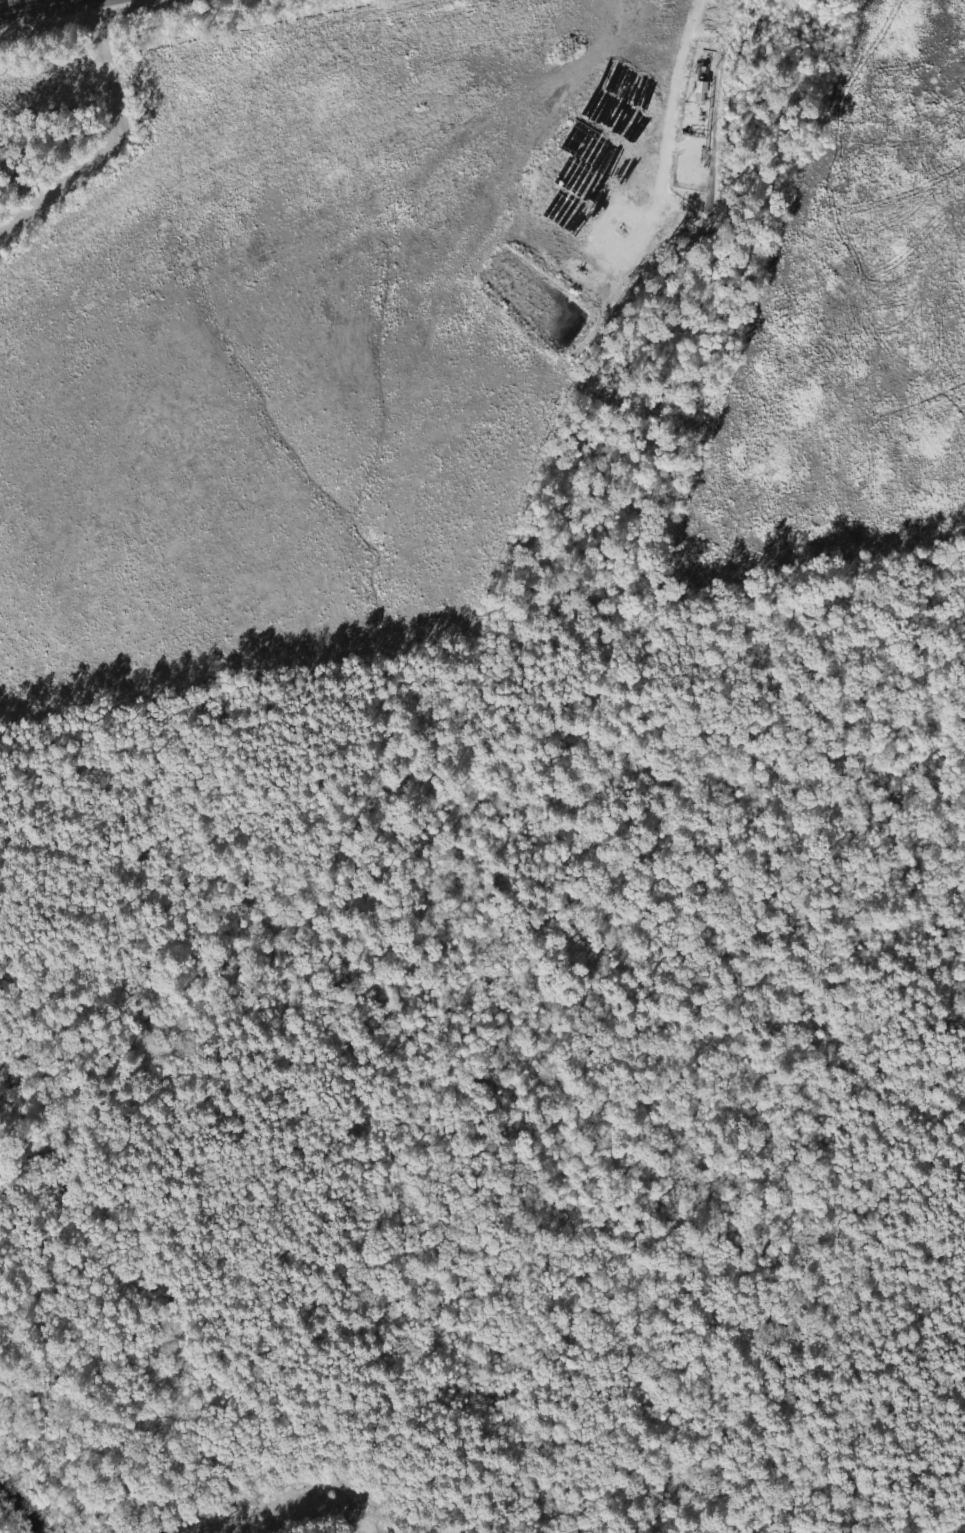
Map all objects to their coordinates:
road: (31, 6)
road: (670, 110)

